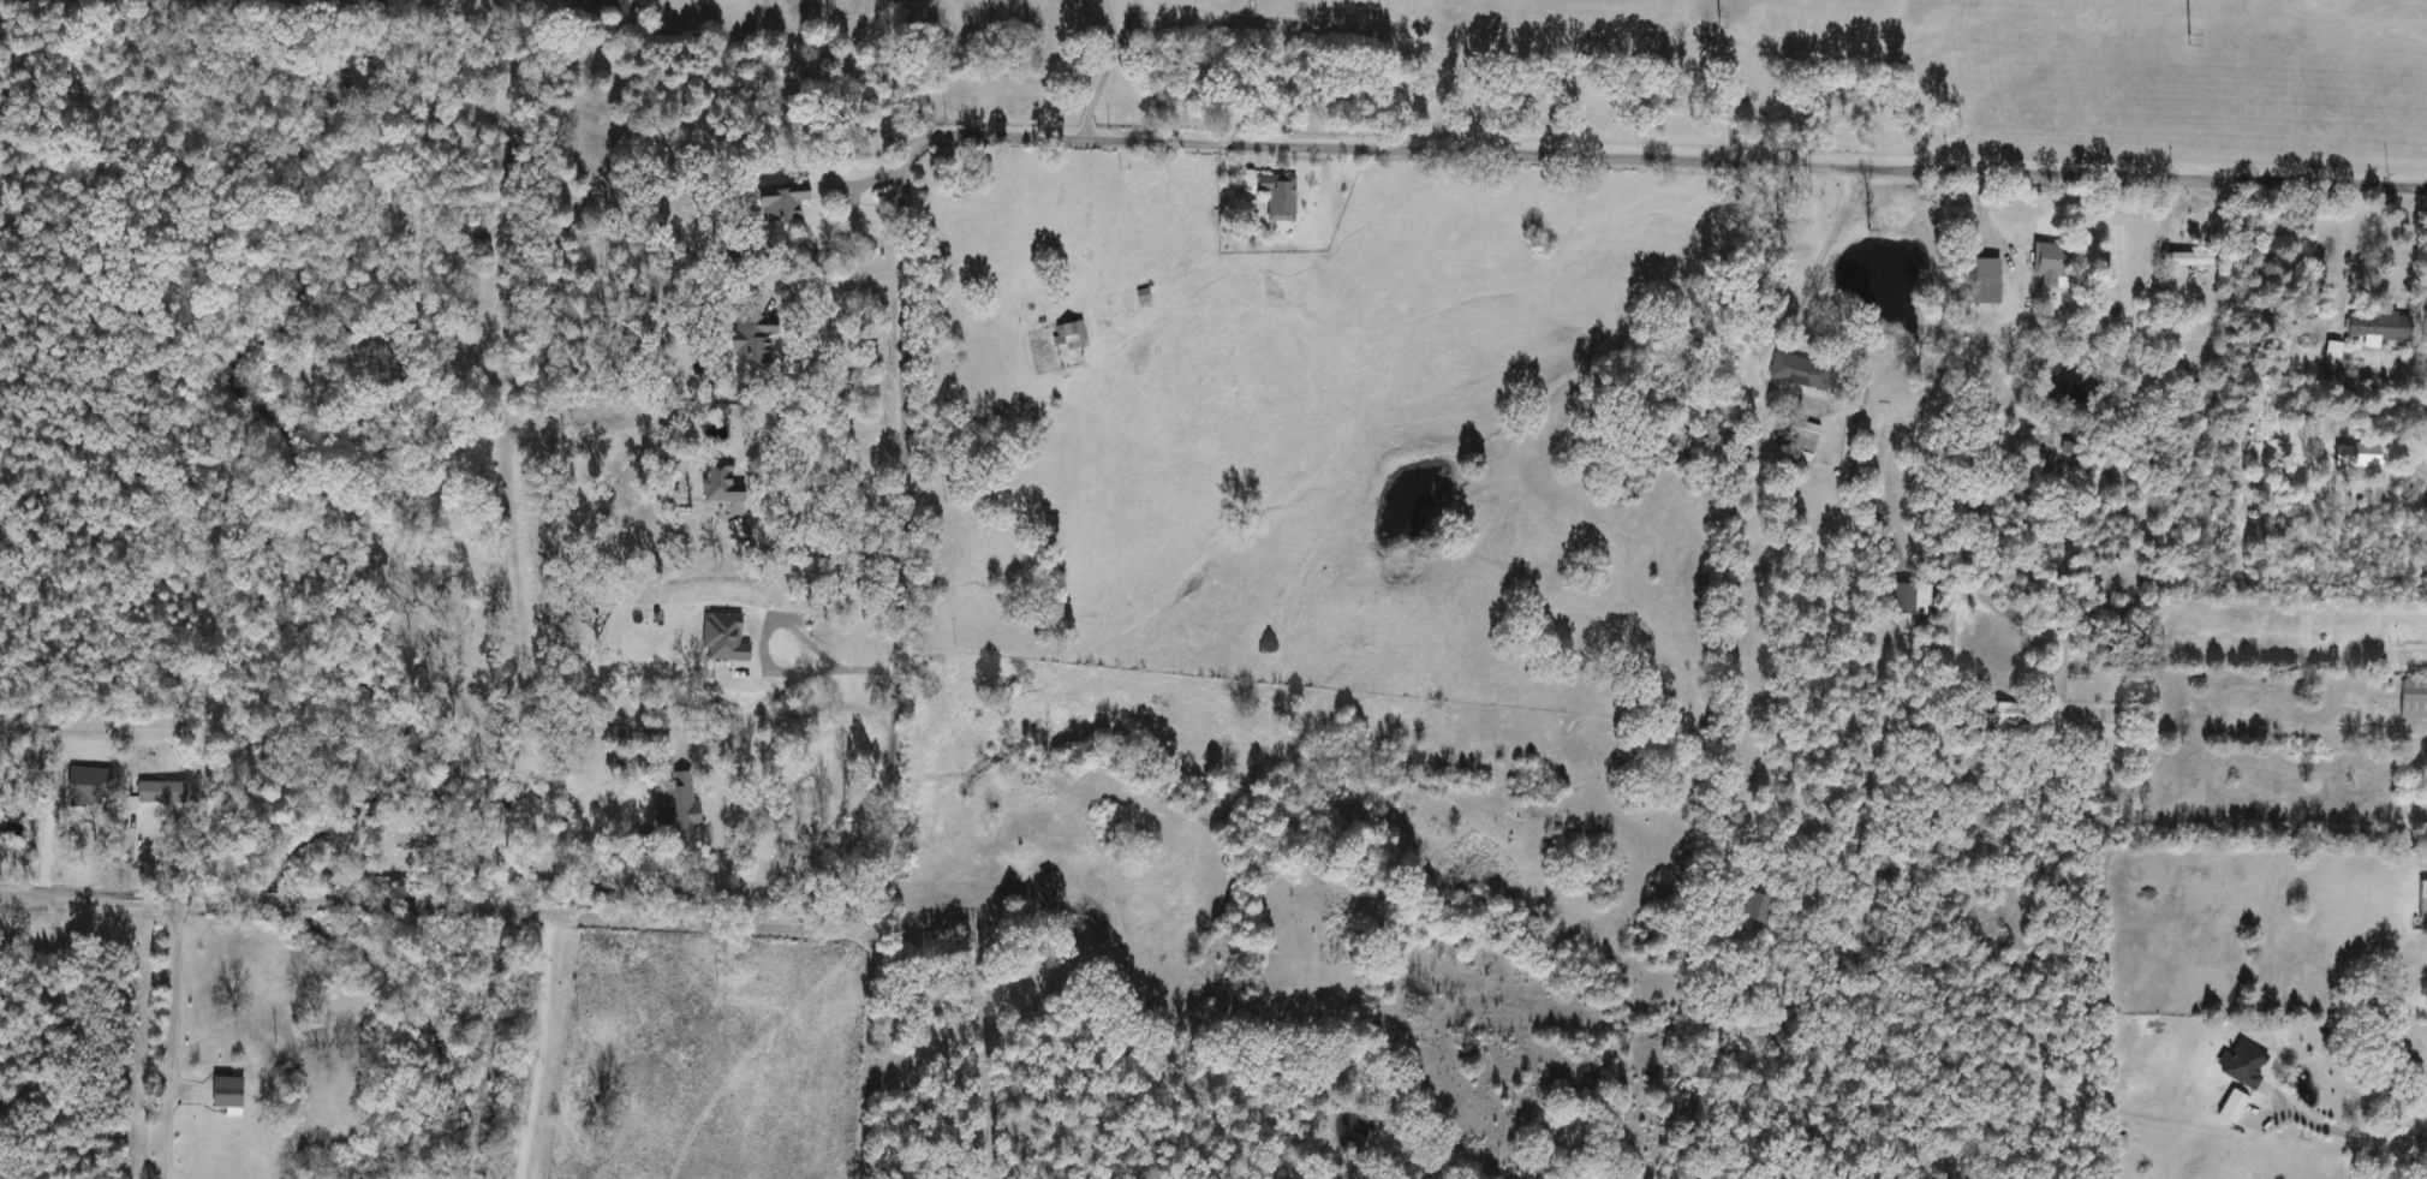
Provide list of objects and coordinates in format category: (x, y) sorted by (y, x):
power tower: (1247, 5)
road: (1107, 23)
power tower: (1716, 23)
road: (859, 36)
road: (805, 38)
power tower: (2187, 41)
road: (1105, 67)
road: (882, 113)
road: (1674, 161)
road: (857, 184)
building: (1272, 197)
building: (779, 202)
road: (845, 232)
building: (2183, 258)
road: (2351, 261)
building: (2047, 266)
building: (1981, 281)
road: (799, 291)
building: (1139, 298)
road: (1791, 317)
building: (2377, 327)
building: (1069, 335)
building: (750, 340)
building: (1793, 370)
road: (2375, 419)
building: (1805, 437)
building: (2355, 455)
building: (720, 480)
road: (895, 535)
road: (811, 549)
building: (1903, 599)
road: (780, 629)
building: (2411, 701)
building: (1994, 715)
road: (779, 716)
building: (163, 792)
road: (2201, 828)
building: (2421, 901)
building: (1758, 909)
road: (431, 912)
road: (191, 1040)
road: (531, 1048)
road: (877, 1052)
building: (2240, 1065)
building: (232, 1091)
building: (2230, 1107)
road: (2339, 1135)

